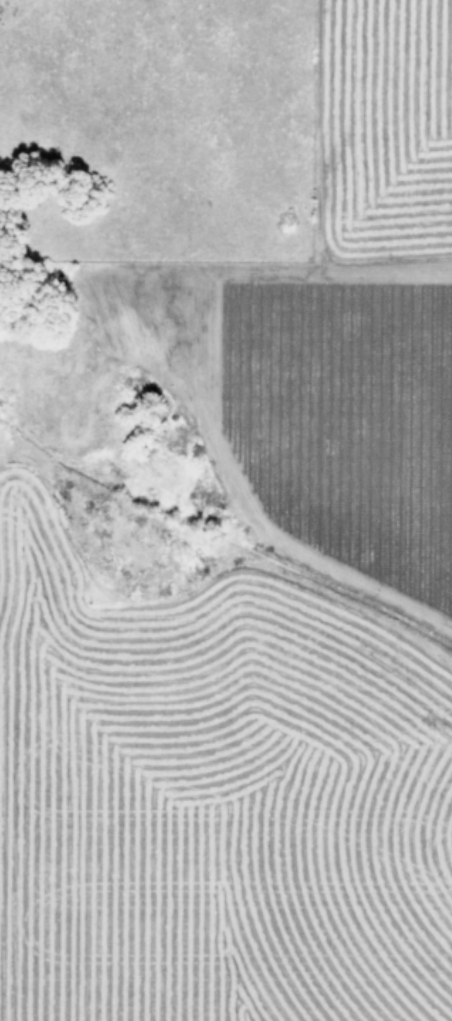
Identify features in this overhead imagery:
crop: (226, 510)

